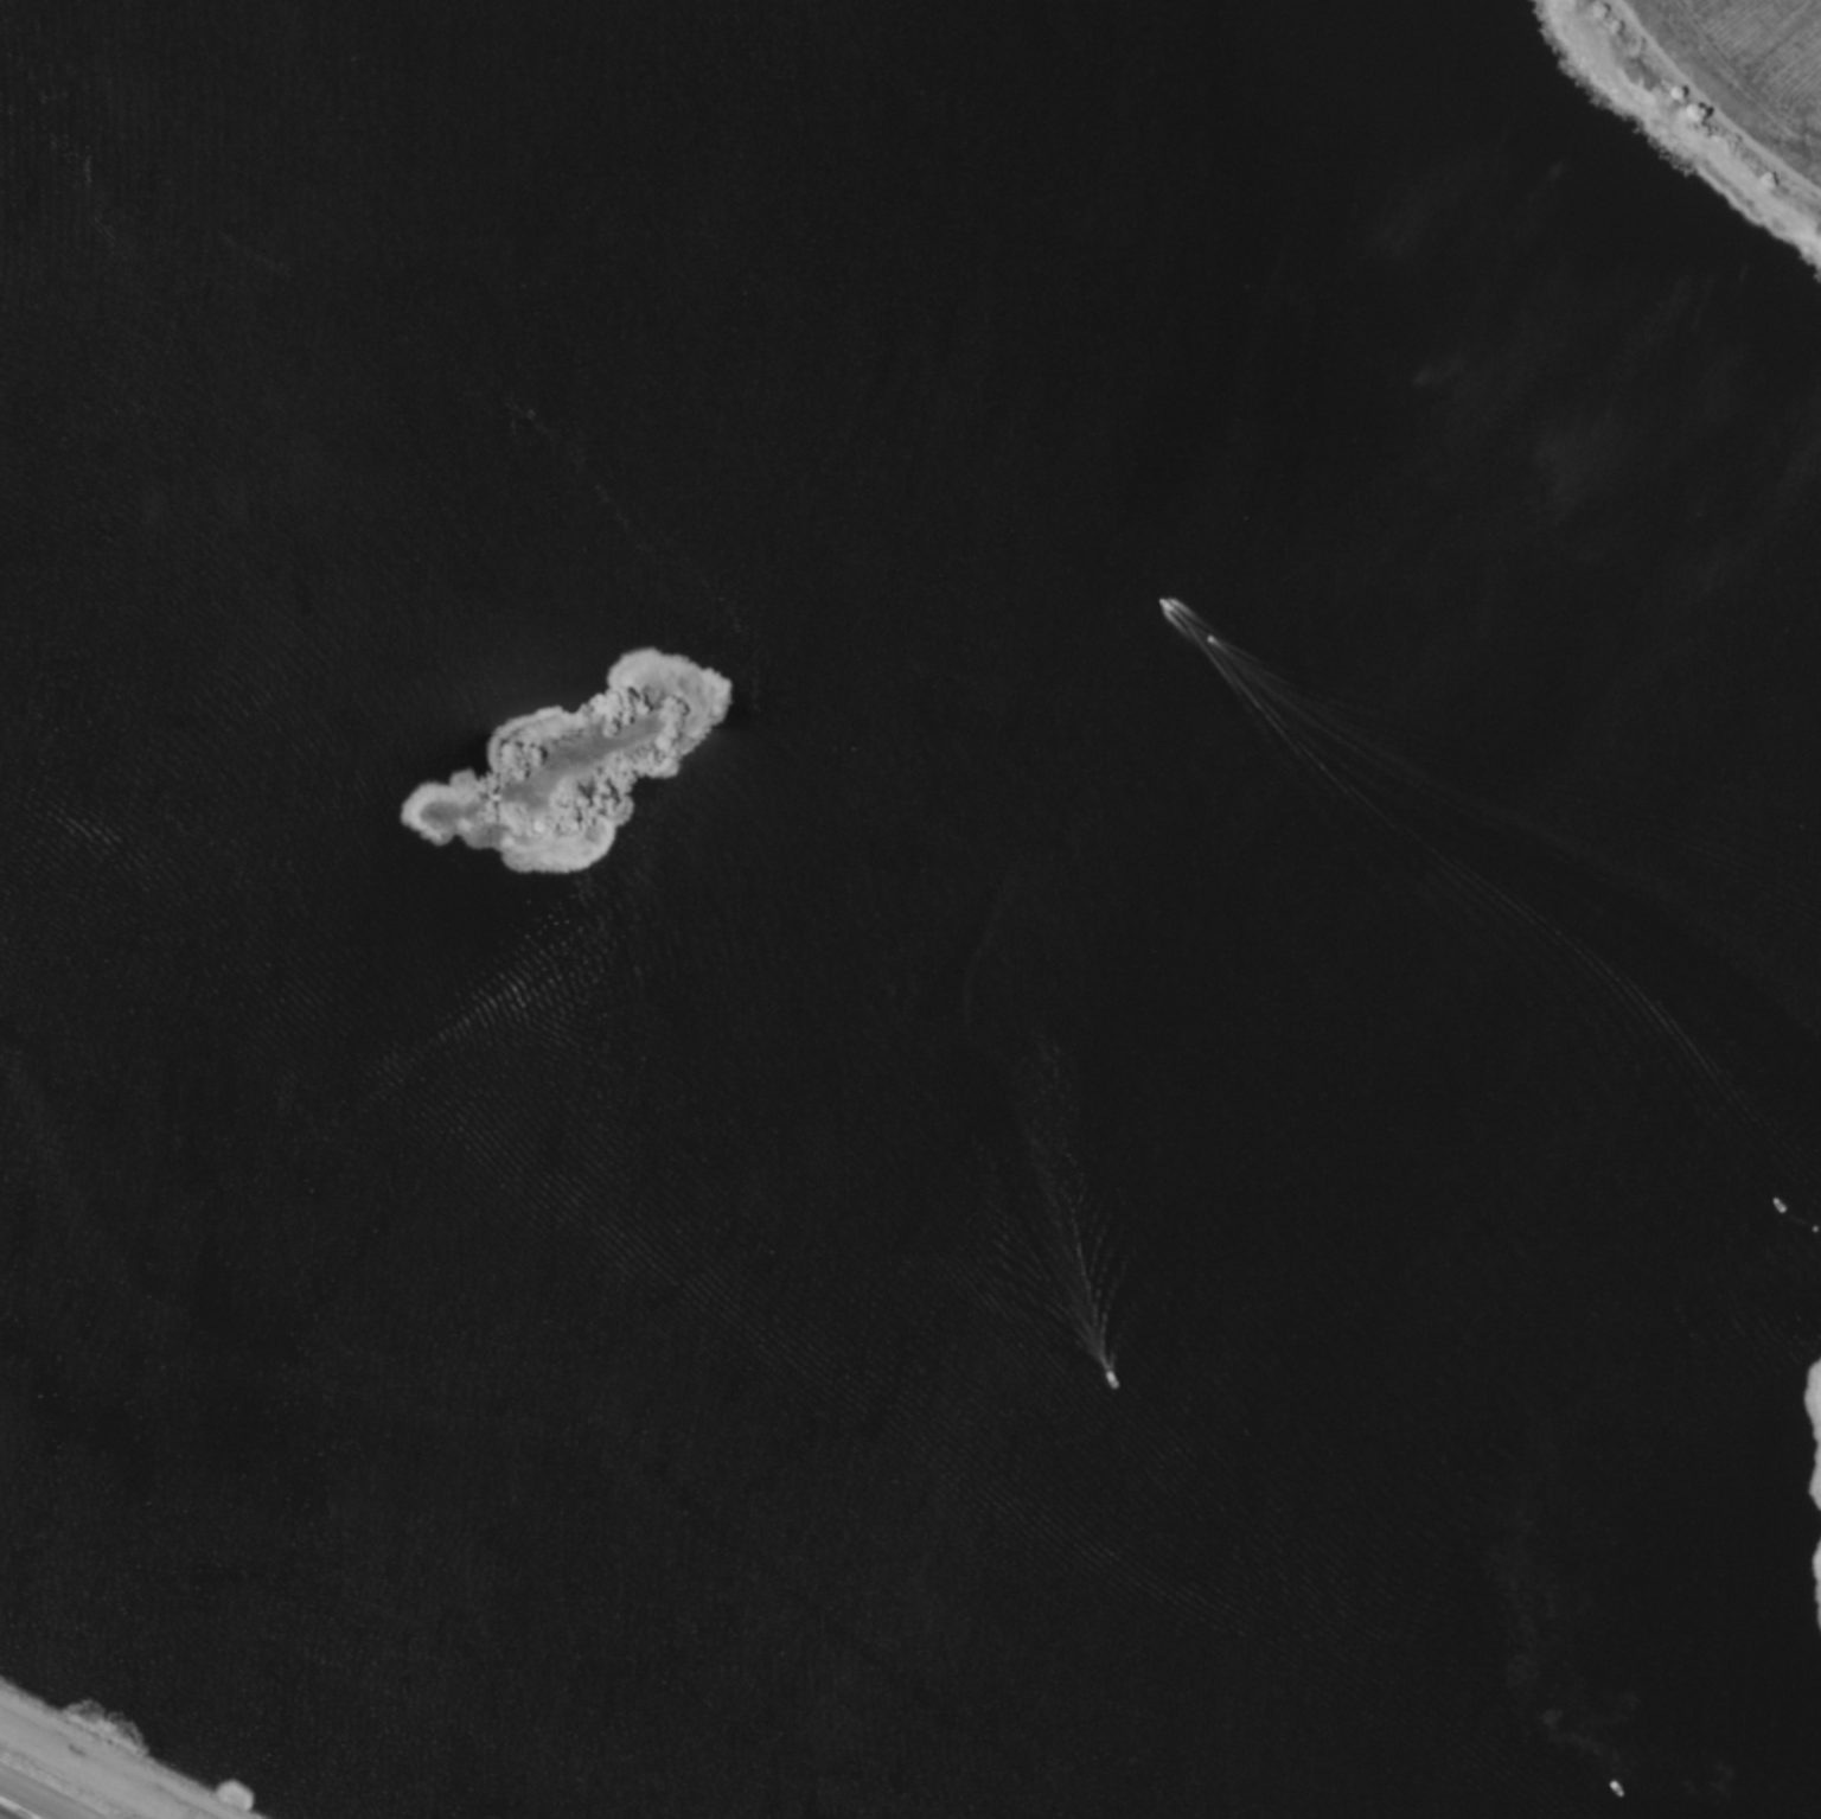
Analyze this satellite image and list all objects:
crop: (127, 1754)

